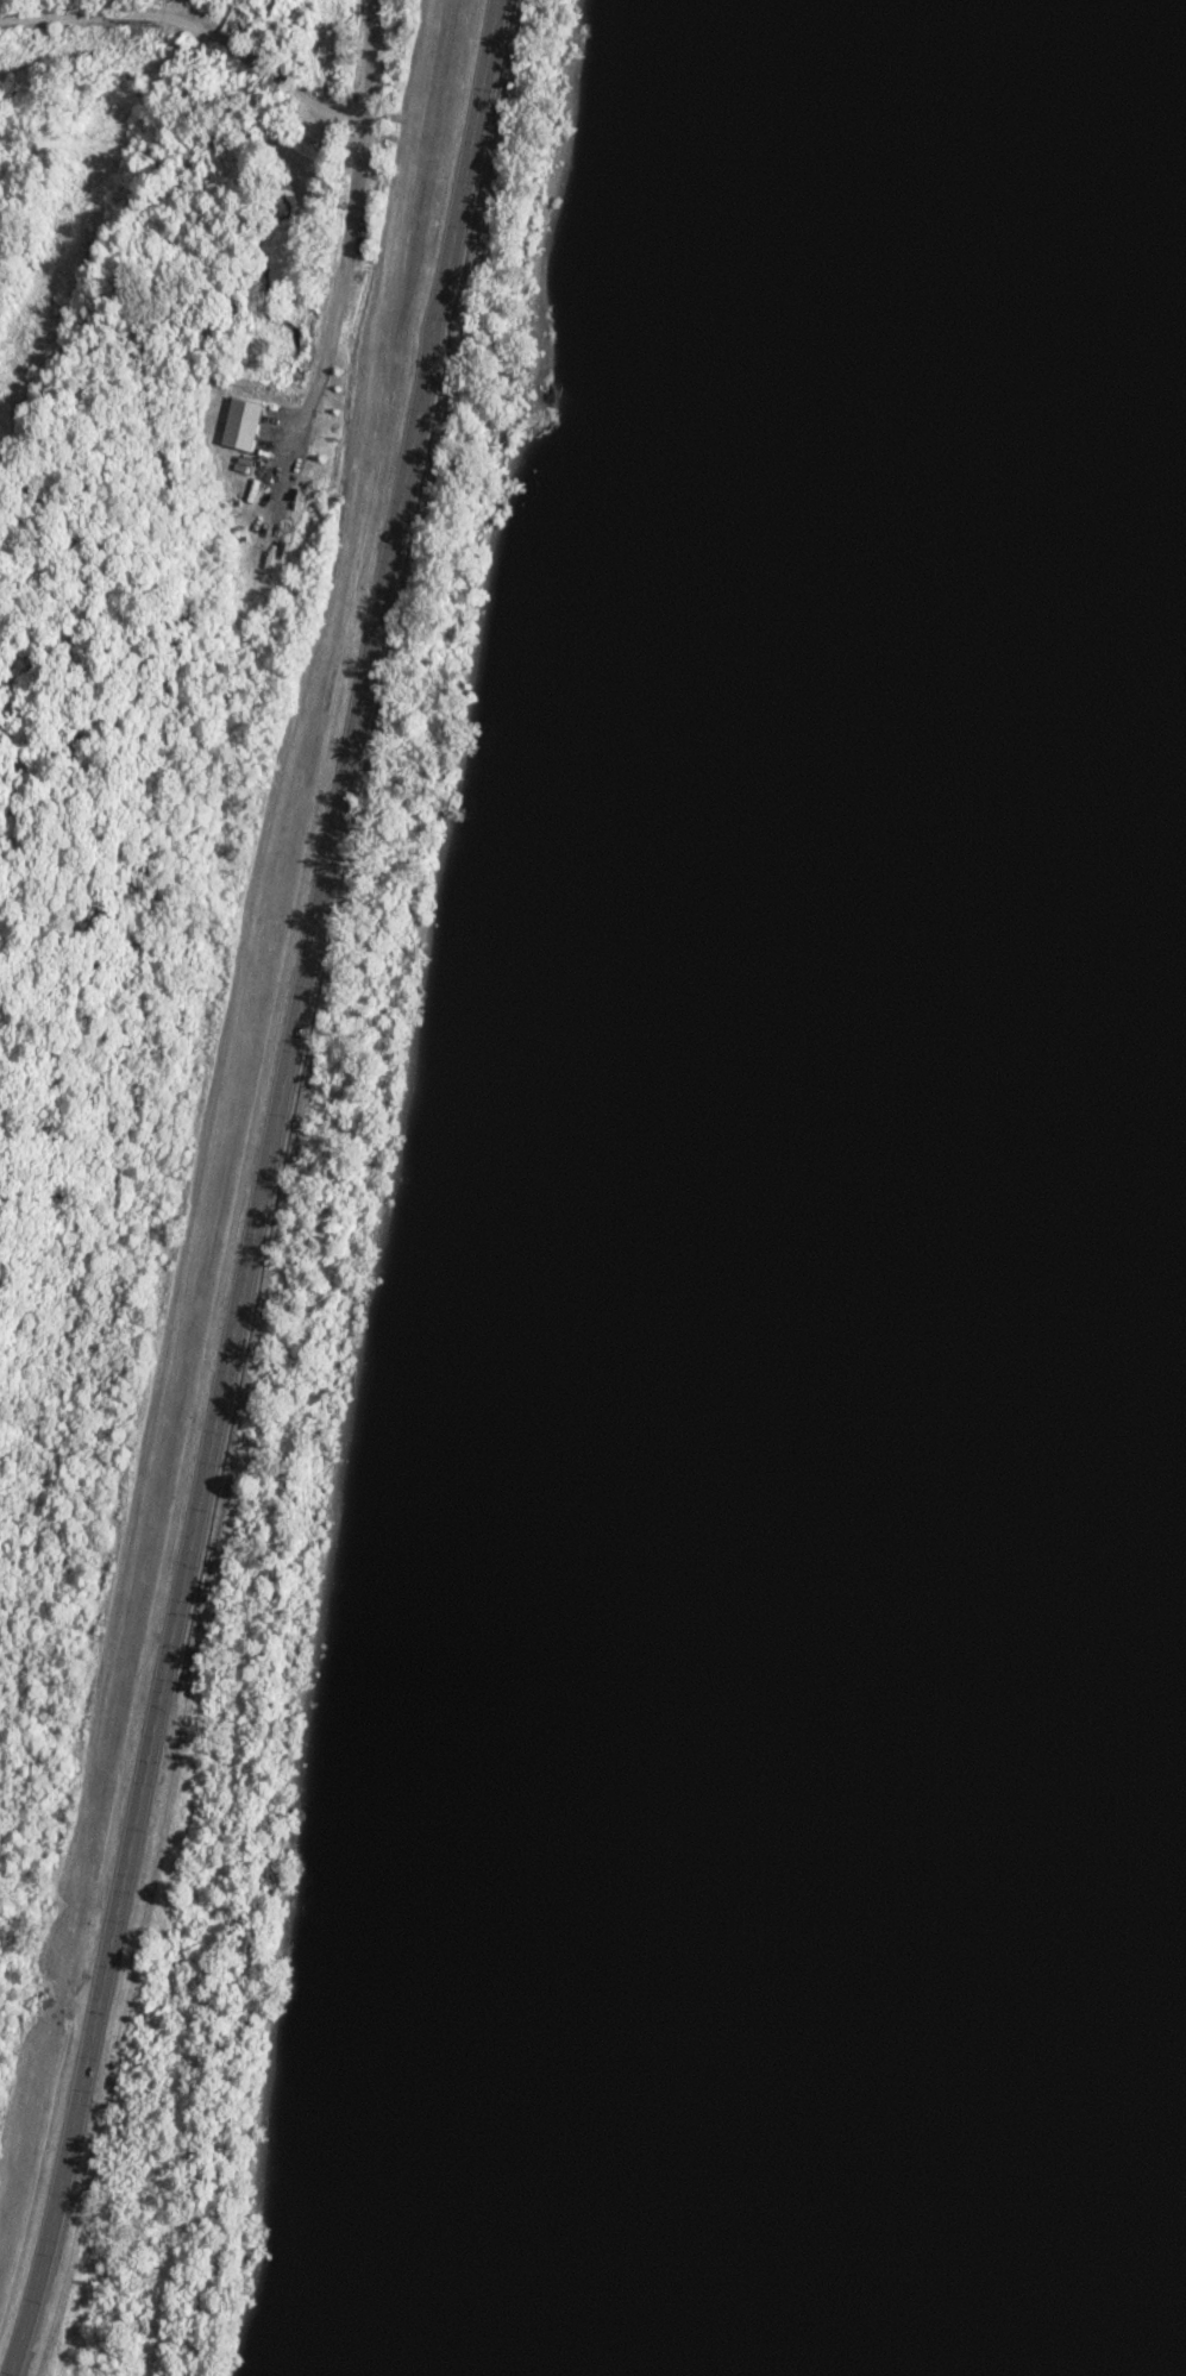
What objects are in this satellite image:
building: (240, 24)
road: (193, 26)
road: (351, 224)
building: (243, 424)
river: (902, 1176)
road: (269, 1190)

